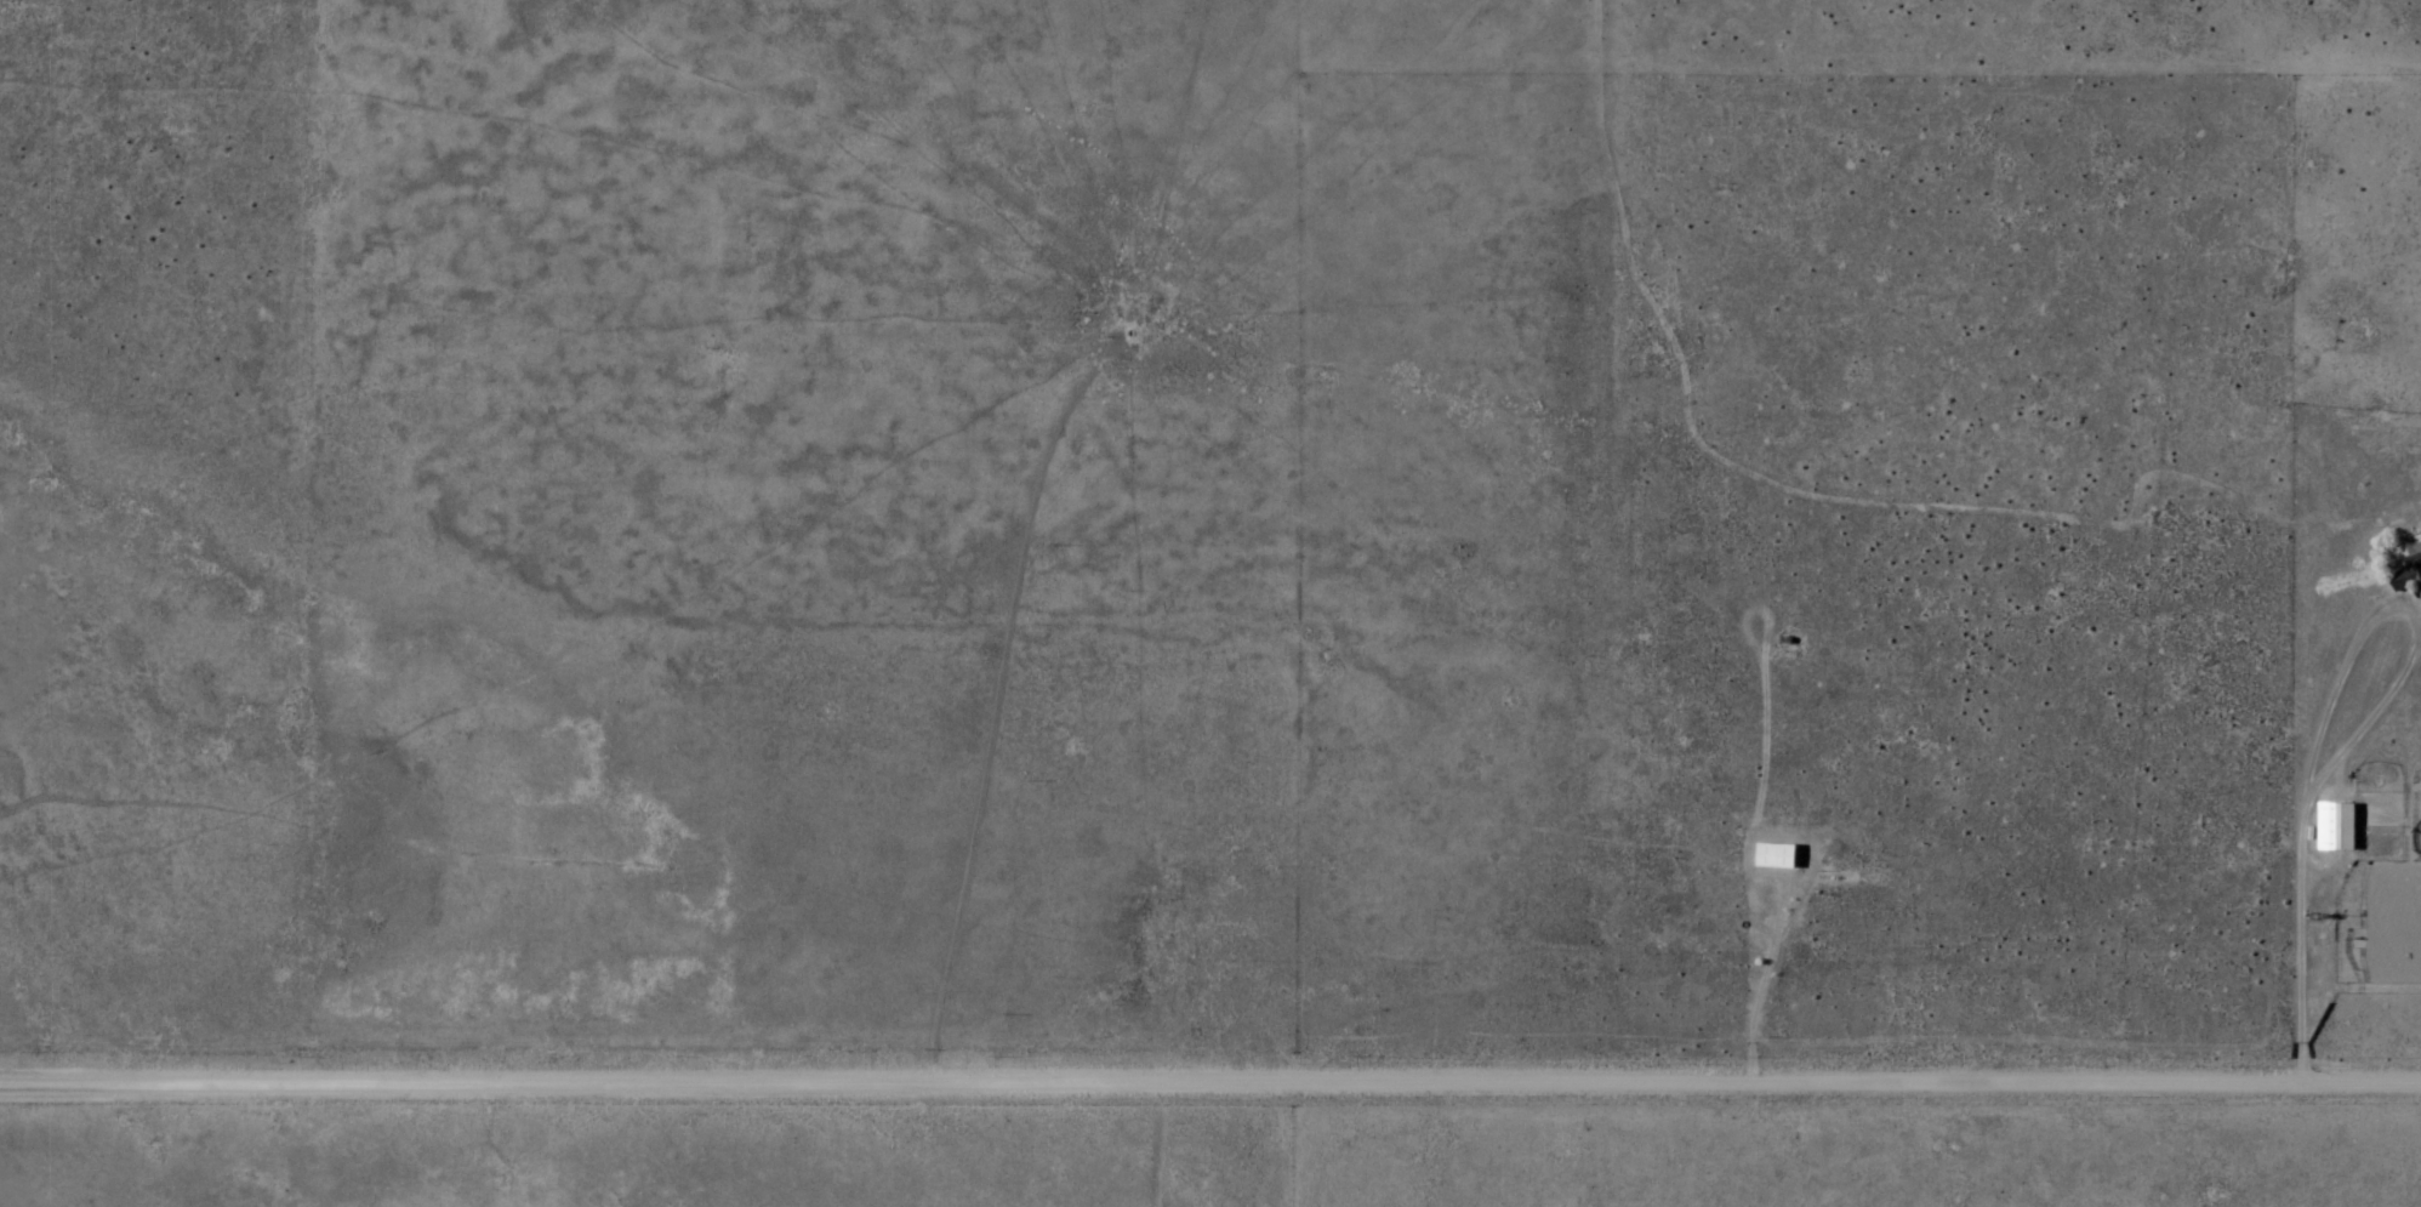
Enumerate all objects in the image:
building: (2409, 573)
building: (2336, 827)
building: (1777, 858)
road: (1210, 1087)

